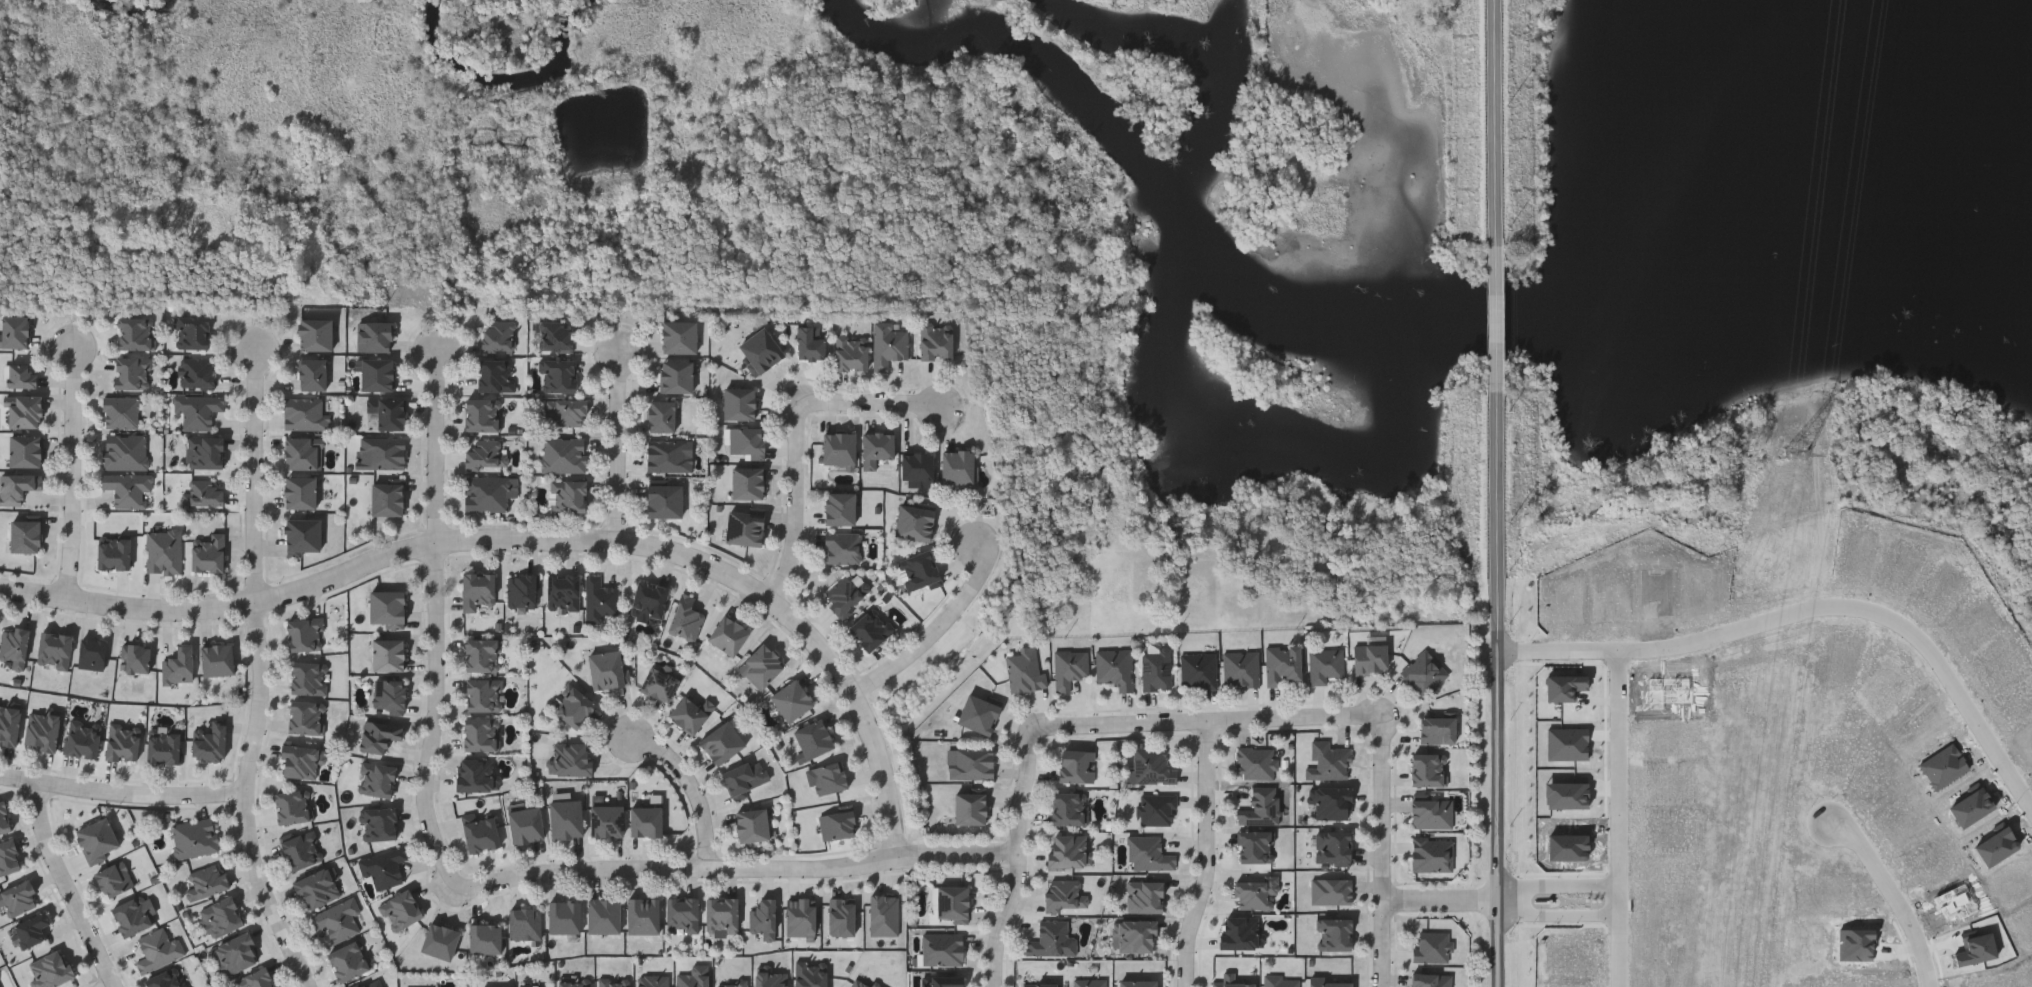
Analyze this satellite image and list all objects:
road: (1501, 119)
road: (1503, 316)
building: (13, 331)
building: (134, 332)
building: (191, 332)
building: (313, 334)
building: (498, 335)
building: (555, 335)
building: (372, 336)
building: (677, 336)
building: (934, 341)
building: (810, 342)
building: (888, 343)
building: (759, 351)
building: (849, 351)
building: (131, 372)
building: (196, 372)
building: (20, 374)
building: (311, 374)
building: (376, 374)
building: (495, 375)
building: (557, 375)
building: (675, 377)
building: (738, 403)
building: (198, 409)
building: (23, 411)
building: (120, 412)
building: (387, 412)
building: (563, 412)
building: (304, 413)
building: (482, 415)
building: (660, 416)
road: (797, 431)
building: (746, 440)
road: (619, 442)
road: (441, 447)
building: (837, 447)
building: (875, 447)
building: (23, 450)
building: (124, 451)
building: (383, 451)
building: (207, 452)
building: (301, 452)
power tower: (1798, 452)
building: (485, 454)
building: (562, 454)
building: (668, 455)
building: (955, 466)
building: (916, 468)
road: (73, 472)
road: (257, 476)
building: (746, 483)
building: (16, 487)
building: (127, 488)
building: (205, 492)
building: (299, 492)
building: (488, 492)
building: (566, 495)
building: (386, 498)
building: (662, 501)
building: (837, 507)
building: (912, 521)
building: (743, 528)
building: (23, 535)
building: (300, 535)
road: (533, 541)
building: (841, 546)
building: (112, 551)
building: (162, 551)
building: (207, 554)
building: (1902, 559)
building: (918, 570)
building: (1640, 582)
building: (476, 589)
building: (522, 590)
building: (562, 591)
building: (845, 593)
building: (598, 598)
building: (647, 599)
building: (386, 607)
building: (1855, 607)
road: (1815, 608)
building: (684, 617)
building: (869, 628)
road: (936, 631)
building: (305, 632)
building: (726, 634)
building: (13, 645)
building: (52, 649)
building: (90, 653)
building: (387, 653)
building: (482, 654)
building: (136, 657)
building: (1368, 658)
building: (216, 659)
building: (1282, 663)
building: (1324, 664)
building: (177, 665)
building: (759, 665)
building: (1114, 666)
building: (1068, 667)
building: (1240, 667)
building: (1155, 668)
building: (606, 669)
building: (1197, 669)
building: (1024, 670)
building: (1422, 672)
building: (308, 677)
building: (658, 683)
road: (1502, 690)
building: (388, 693)
building: (483, 694)
building: (790, 699)
building: (572, 707)
building: (690, 712)
building: (976, 713)
building: (305, 716)
road: (437, 718)
road: (1206, 719)
building: (8, 722)
building: (40, 729)
building: (1436, 729)
building: (480, 733)
building: (377, 734)
building: (81, 737)
building: (811, 738)
building: (122, 741)
building: (208, 741)
building: (720, 742)
building: (163, 744)
building: (570, 758)
building: (299, 759)
building: (1327, 760)
building: (1255, 761)
building: (969, 762)
building: (1075, 765)
building: (1151, 765)
building: (1428, 769)
building: (473, 774)
building: (744, 776)
building: (828, 777)
building: (376, 778)
road: (694, 791)
road: (121, 793)
road: (244, 800)
building: (1329, 801)
building: (292, 806)
building: (969, 806)
building: (1260, 806)
building: (1068, 808)
building: (1156, 809)
building: (1431, 811)
building: (3, 817)
building: (564, 818)
road: (1619, 818)
building: (605, 820)
building: (644, 821)
building: (379, 823)
building: (837, 823)
building: (524, 824)
building: (750, 825)
building: (480, 833)
building: (194, 837)
building: (96, 840)
building: (1254, 846)
building: (1332, 846)
building: (300, 849)
road: (1385, 849)
building: (1066, 851)
building: (1148, 853)
road: (1208, 854)
building: (1431, 854)
building: (8, 856)
road: (1021, 859)
building: (383, 867)
road: (735, 872)
building: (113, 878)
building: (205, 881)
road: (1557, 886)
road: (70, 887)
building: (316, 888)
building: (1254, 890)
building: (1330, 890)
road: (1895, 894)
building: (1064, 895)
building: (1144, 896)
building: (16, 899)
building: (951, 903)
road: (1444, 903)
building: (400, 910)
building: (681, 914)
building: (883, 914)
road: (1559, 914)
building: (132, 915)
building: (602, 915)
building: (721, 915)
building: (840, 915)
building: (220, 916)
building: (642, 916)
building: (800, 916)
building: (563, 917)
building: (762, 918)
building: (337, 919)
building: (524, 923)
building: (31, 928)
building: (1238, 932)
building: (1333, 933)
building: (1136, 936)
building: (483, 938)
building: (1051, 939)
building: (438, 941)
building: (1431, 946)
building: (942, 947)
building: (158, 949)
building: (235, 953)
building: (347, 960)
building: (50, 969)
building: (810, 975)
building: (693, 977)
building: (768, 977)
building: (166, 978)
building: (255, 979)
building: (1430, 979)
building: (651, 980)
building: (941, 981)
building: (1280, 981)
building: (612, 982)
building: (861, 982)
building: (1089, 982)
building: (372, 983)
building: (730, 983)
building: (1136, 983)
building: (1232, 983)
building: (1328, 983)
building: (572, 984)
building: (1039, 984)

